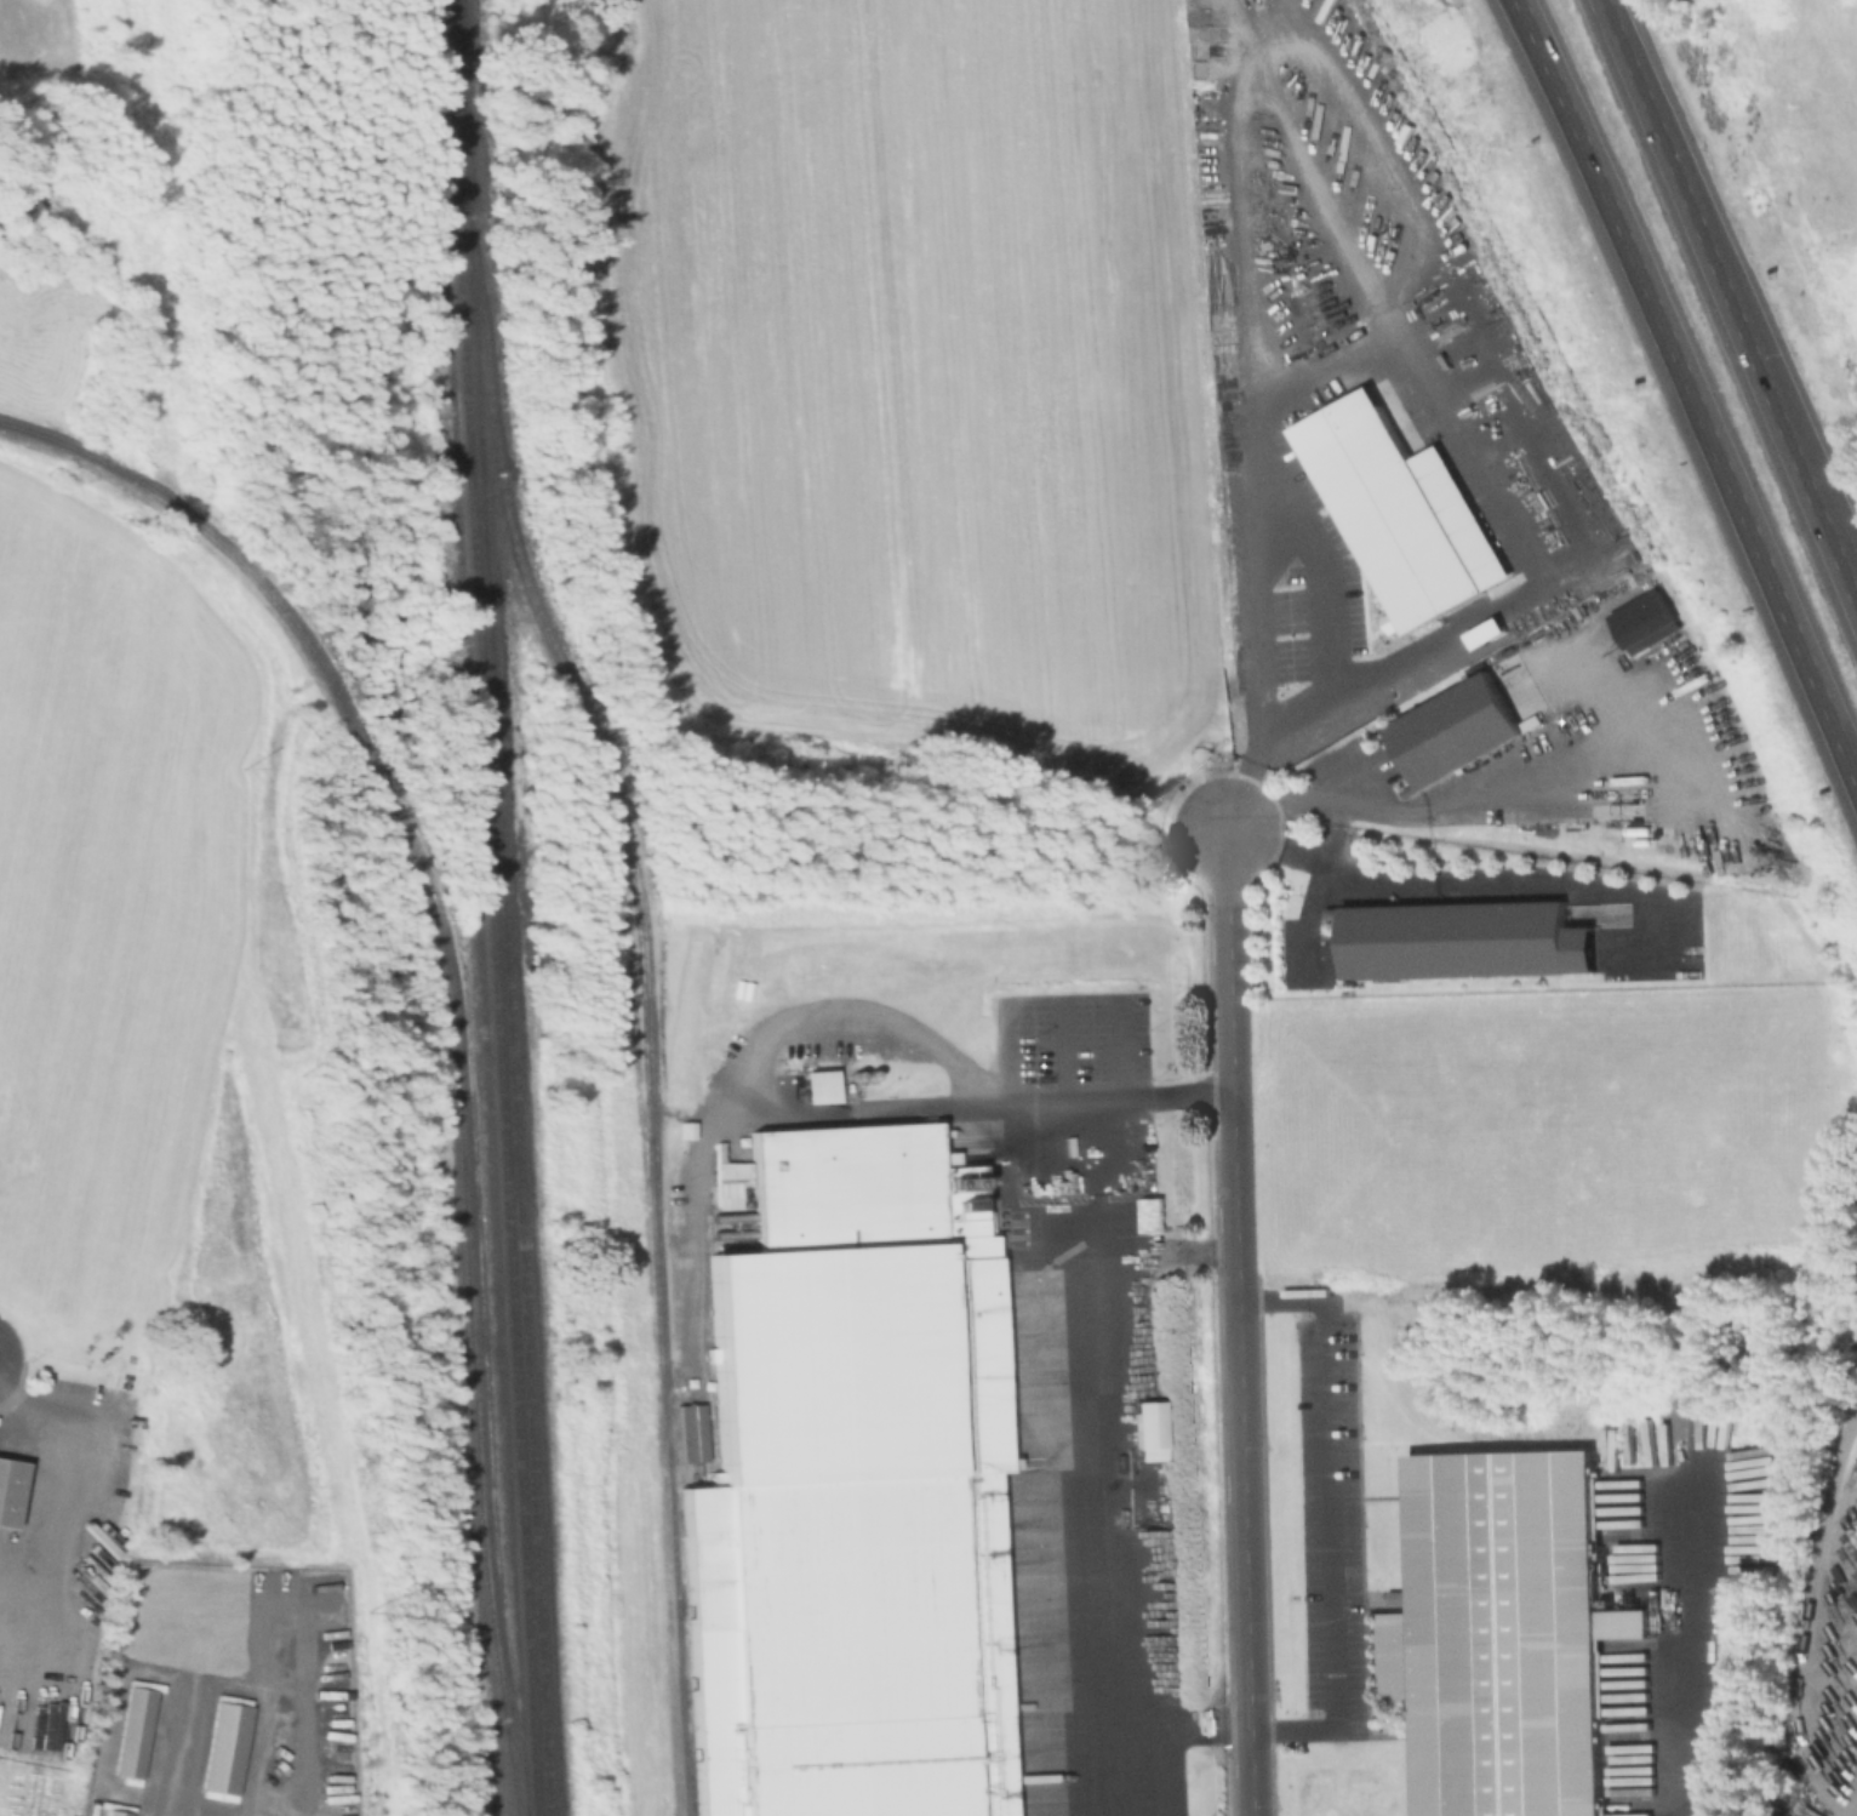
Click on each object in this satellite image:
road: (1538, 47)
railway: (463, 115)
road: (1234, 207)
road: (1341, 250)
road: (1455, 303)
road: (1731, 316)
building: (1510, 333)
crop: (903, 375)
road: (1707, 452)
road: (1289, 492)
building: (1402, 516)
railway: (211, 529)
road: (1830, 553)
road: (1527, 561)
building: (1561, 584)
building: (1419, 662)
road: (1650, 721)
building: (1452, 732)
railway: (368, 752)
road: (1451, 807)
road: (1449, 883)
road: (1315, 890)
railway: (488, 907)
road: (1228, 914)
crop: (108, 921)
building: (1461, 940)
railway: (645, 1010)
railway: (508, 1023)
road: (1122, 1045)
road: (1067, 1046)
road: (1150, 1092)
road: (726, 1110)
crop: (1547, 1127)
road: (1234, 1135)
railway: (468, 1295)
building: (1147, 1429)
road: (1087, 1455)
road: (44, 1456)
building: (845, 1487)
building: (8, 1490)
road: (1332, 1514)
road: (1245, 1542)
road: (1812, 1616)
building: (1503, 1634)
road: (1684, 1645)
road: (215, 1684)
road: (1176, 1724)
building: (131, 1731)
building: (223, 1747)
road: (293, 1749)
building: (114, 1812)

